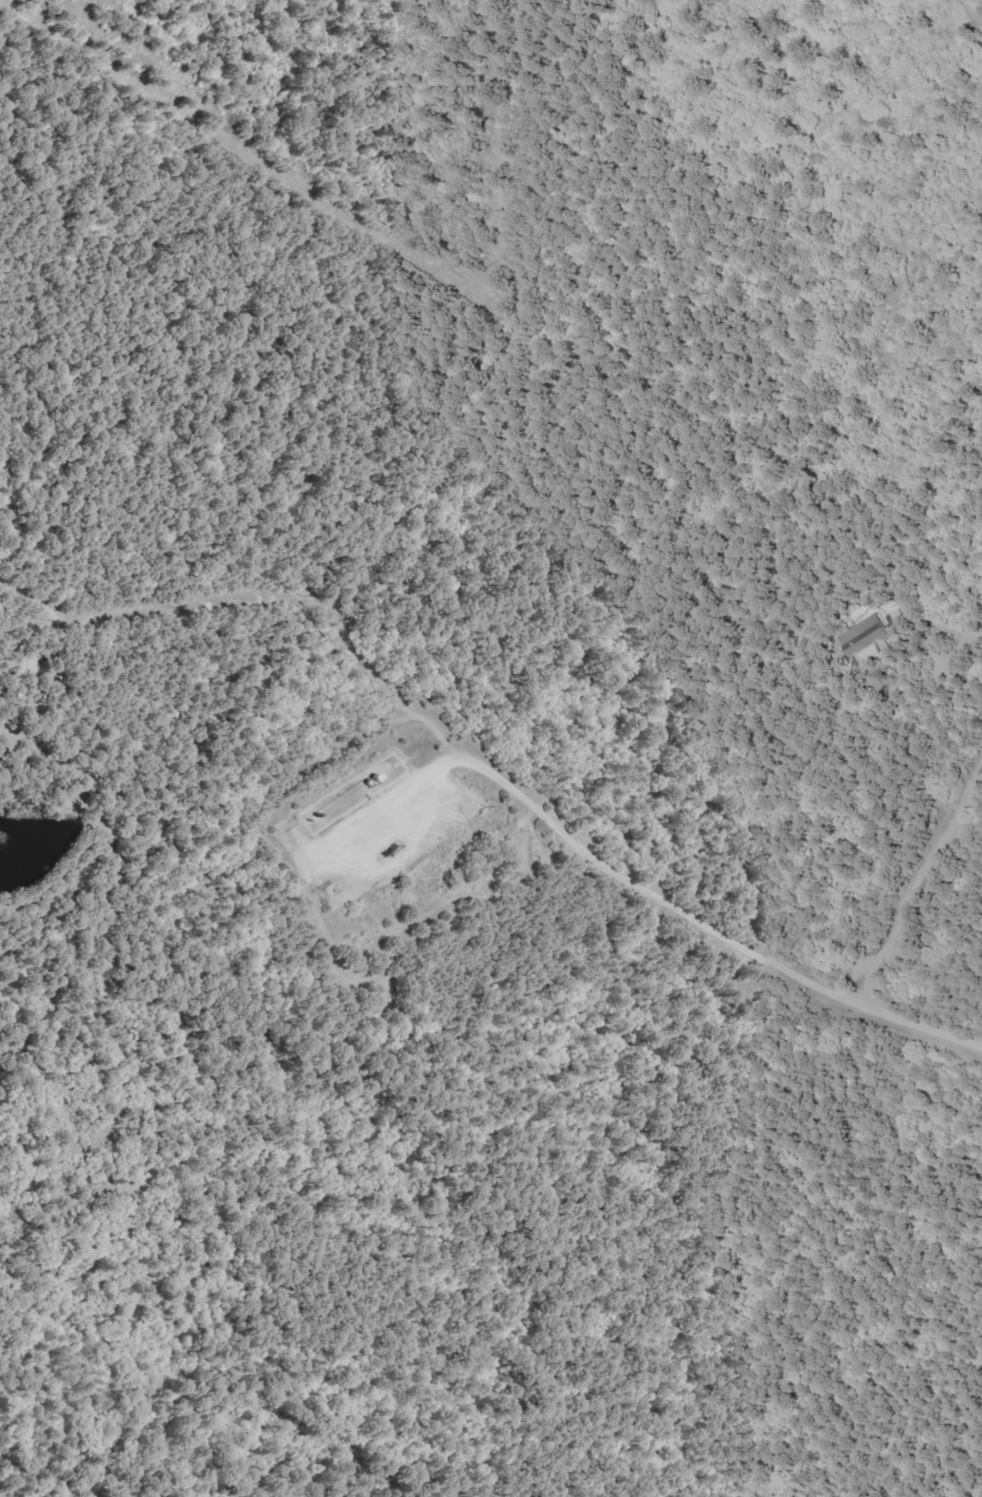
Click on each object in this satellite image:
building: (867, 639)
petroleum well: (387, 849)
road: (663, 891)

